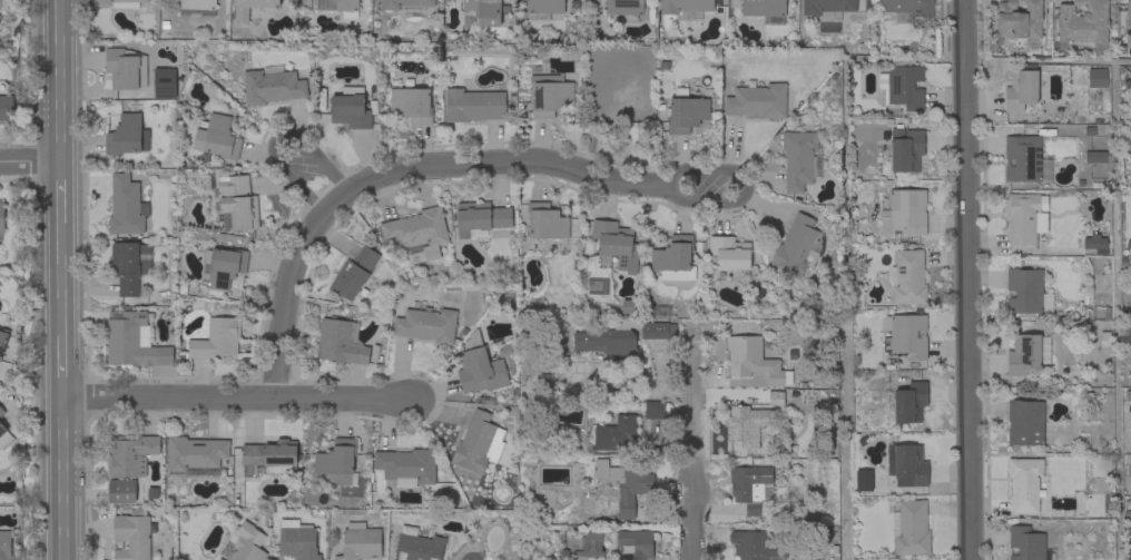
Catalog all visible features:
building: (121, 4)
building: (406, 6)
building: (197, 7)
building: (338, 7)
building: (624, 7)
building: (543, 8)
building: (686, 8)
building: (828, 8)
building: (906, 9)
building: (765, 10)
building: (481, 12)
building: (240, 16)
building: (1019, 20)
building: (1083, 21)
building: (1128, 22)
building: (126, 69)
building: (1096, 78)
road: (59, 81)
building: (164, 83)
building: (272, 86)
building: (904, 87)
building: (1022, 89)
building: (549, 96)
building: (758, 101)
building: (411, 106)
building: (474, 106)
building: (7, 108)
building: (351, 109)
building: (686, 112)
building: (127, 136)
building: (217, 137)
building: (906, 150)
building: (1095, 157)
building: (1025, 159)
building: (800, 160)
road: (29, 163)
road: (423, 165)
road: (846, 167)
road: (314, 168)
road: (59, 194)
building: (236, 203)
building: (126, 206)
building: (907, 210)
building: (2, 217)
building: (480, 218)
building: (1023, 219)
building: (545, 222)
building: (417, 233)
building: (1098, 243)
building: (614, 245)
building: (797, 247)
building: (729, 253)
building: (675, 259)
building: (129, 266)
building: (223, 266)
building: (354, 273)
road: (60, 276)
building: (907, 278)
road: (968, 279)
building: (1026, 292)
building: (630, 306)
road: (1114, 310)
building: (426, 325)
building: (906, 335)
building: (3, 338)
building: (621, 338)
building: (217, 340)
building: (132, 341)
building: (341, 342)
building: (1026, 354)
building: (754, 361)
road: (61, 365)
building: (479, 367)
building: (776, 399)
road: (236, 400)
building: (909, 403)
building: (653, 411)
building: (1, 412)
building: (748, 422)
building: (1025, 423)
building: (616, 434)
building: (4, 438)
building: (479, 443)
road: (692, 445)
building: (195, 453)
building: (272, 455)
building: (337, 462)
building: (128, 465)
building: (907, 465)
building: (406, 466)
building: (1128, 471)
building: (200, 472)
road: (62, 481)
building: (862, 481)
building: (1024, 484)
building: (749, 487)
building: (621, 488)
building: (810, 519)
building: (909, 528)
building: (132, 534)
building: (297, 540)
building: (246, 542)
building: (360, 542)
building: (636, 543)
building: (1027, 544)
building: (4, 546)
building: (417, 546)
building: (590, 547)
building: (756, 547)
building: (1129, 554)
building: (217, 559)
building: (219, 559)

